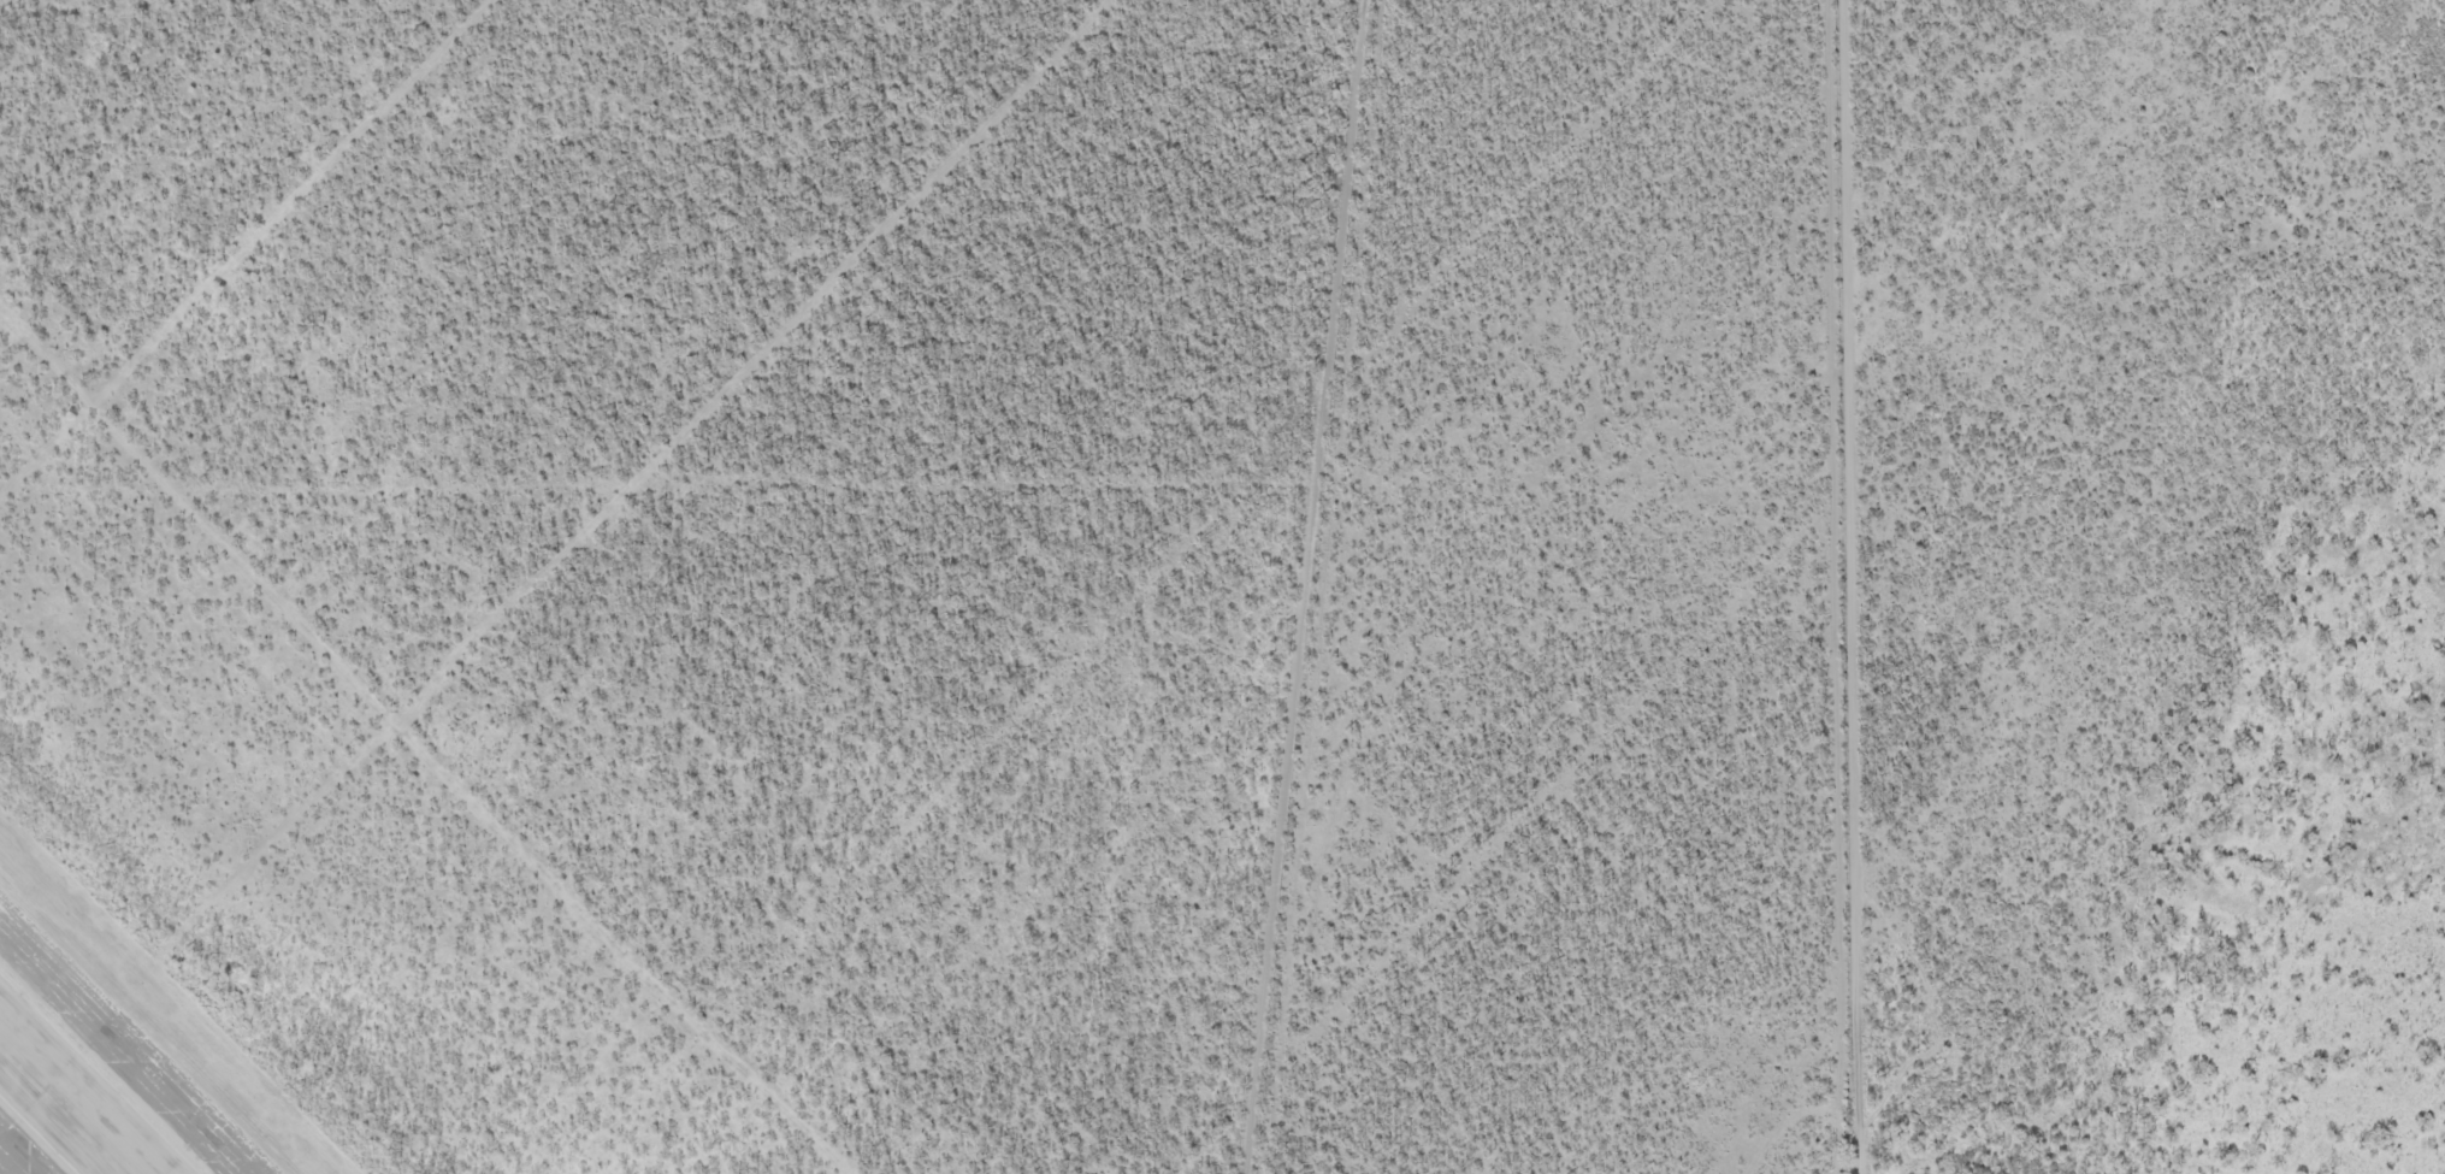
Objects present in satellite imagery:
airport: (656, 578)
road: (2185, 730)
airport runway: (67, 1105)

